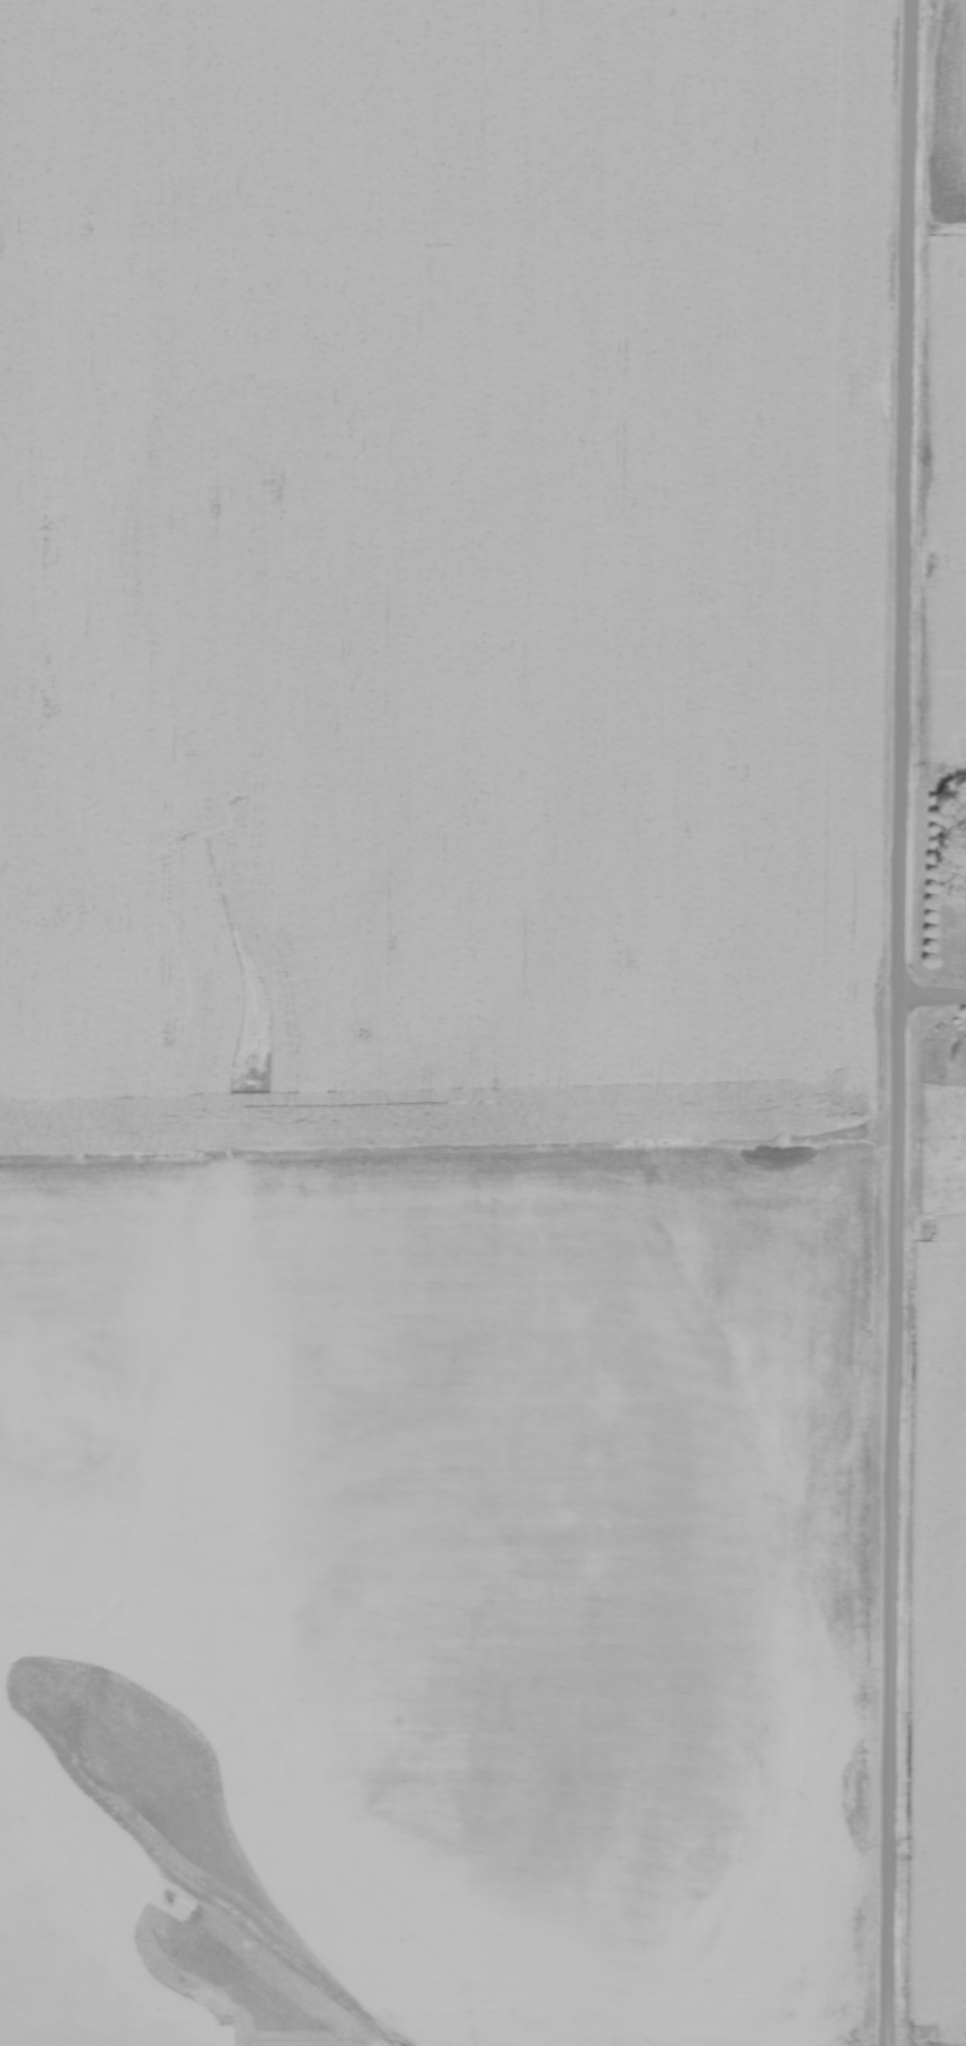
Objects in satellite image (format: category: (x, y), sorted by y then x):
road: (929, 998)
road: (891, 1022)

